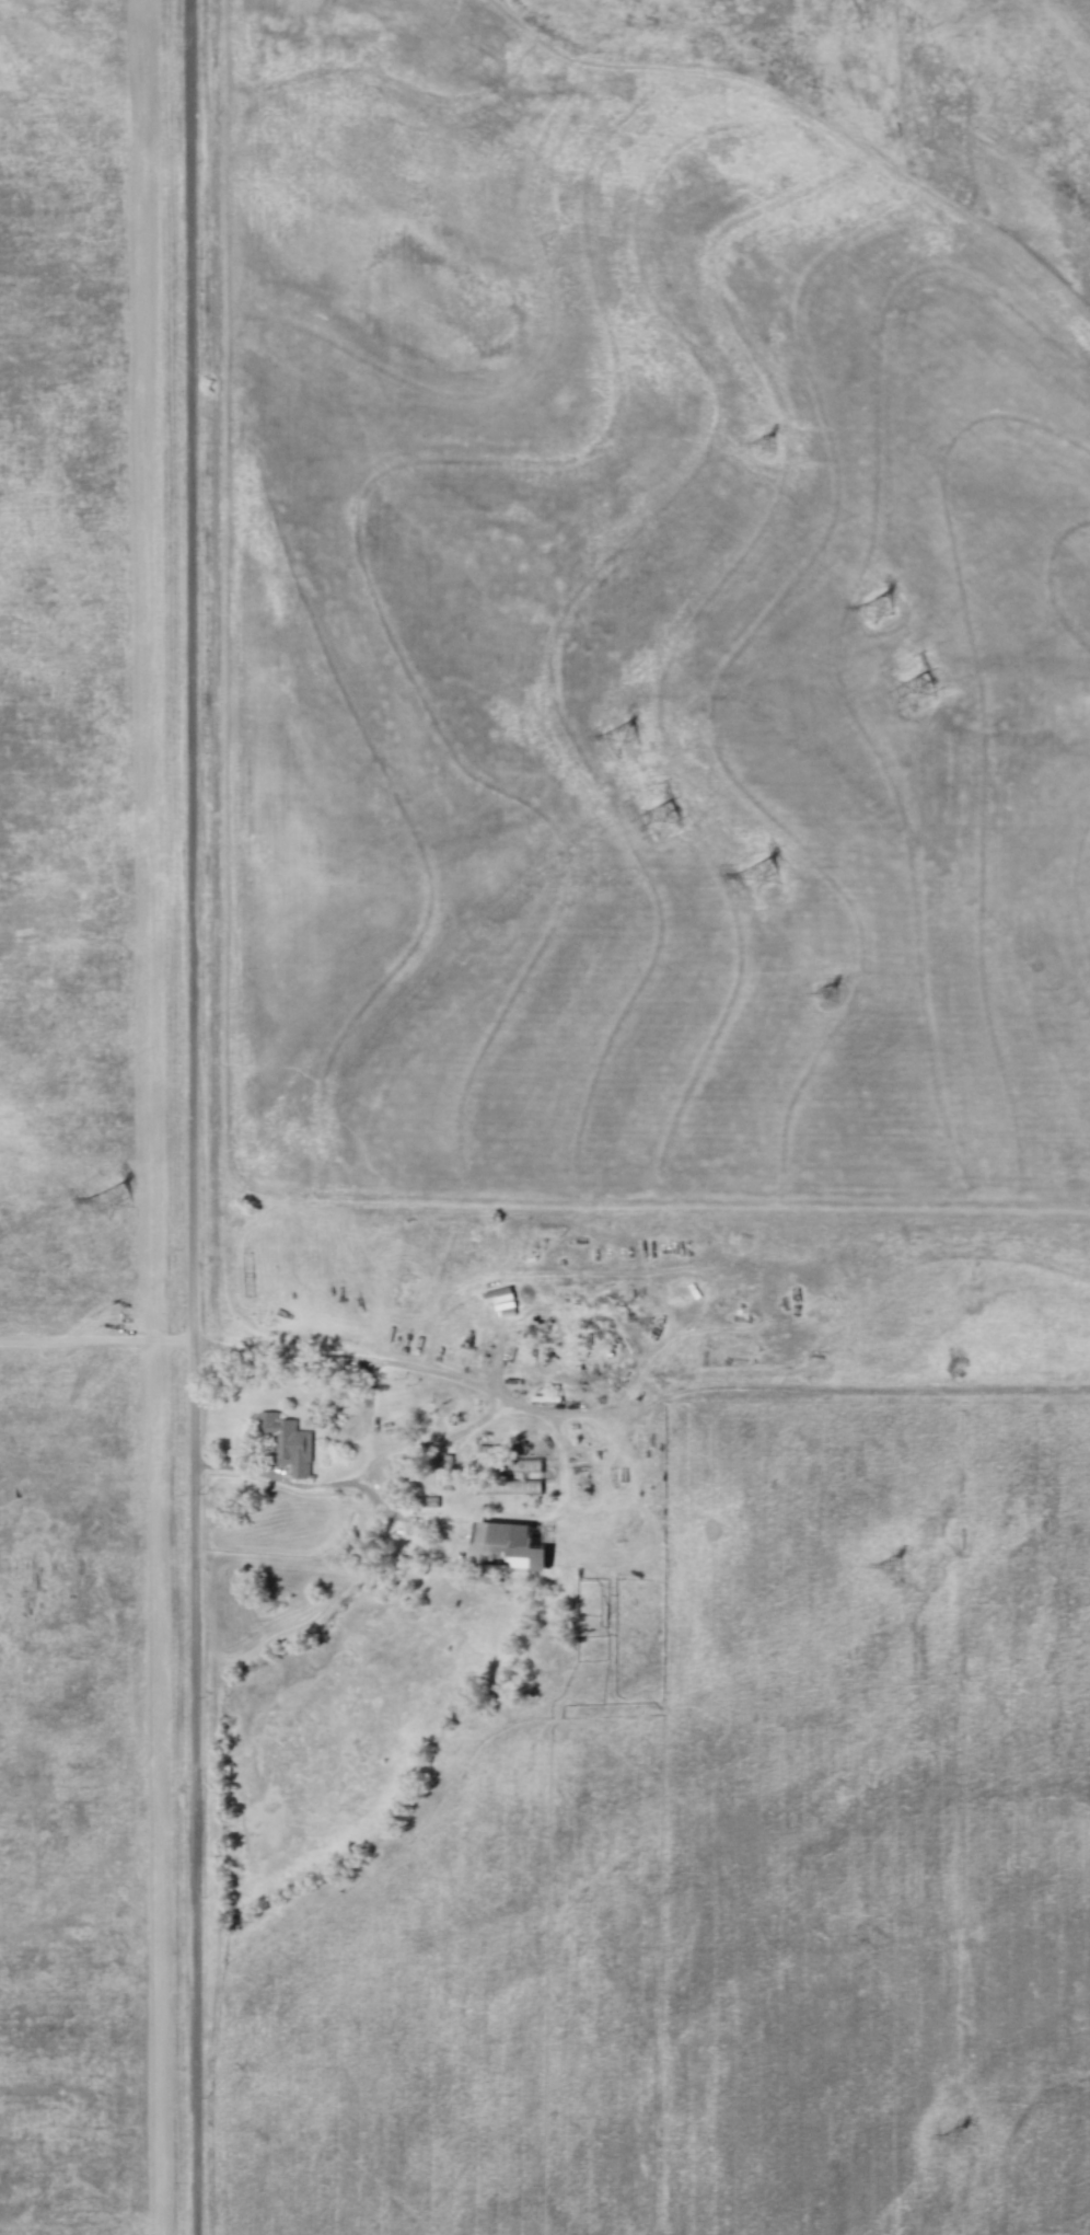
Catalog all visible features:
power tower: (766, 443)
power tower: (884, 610)
power tower: (924, 691)
power tower: (627, 739)
power tower: (666, 819)
power tower: (766, 877)
power tower: (827, 992)
road: (190, 1117)
power tower: (121, 1203)
road: (397, 1361)
building: (286, 1443)
road: (298, 1504)
building: (507, 1545)
power tower: (894, 1564)
power tower: (959, 2133)

